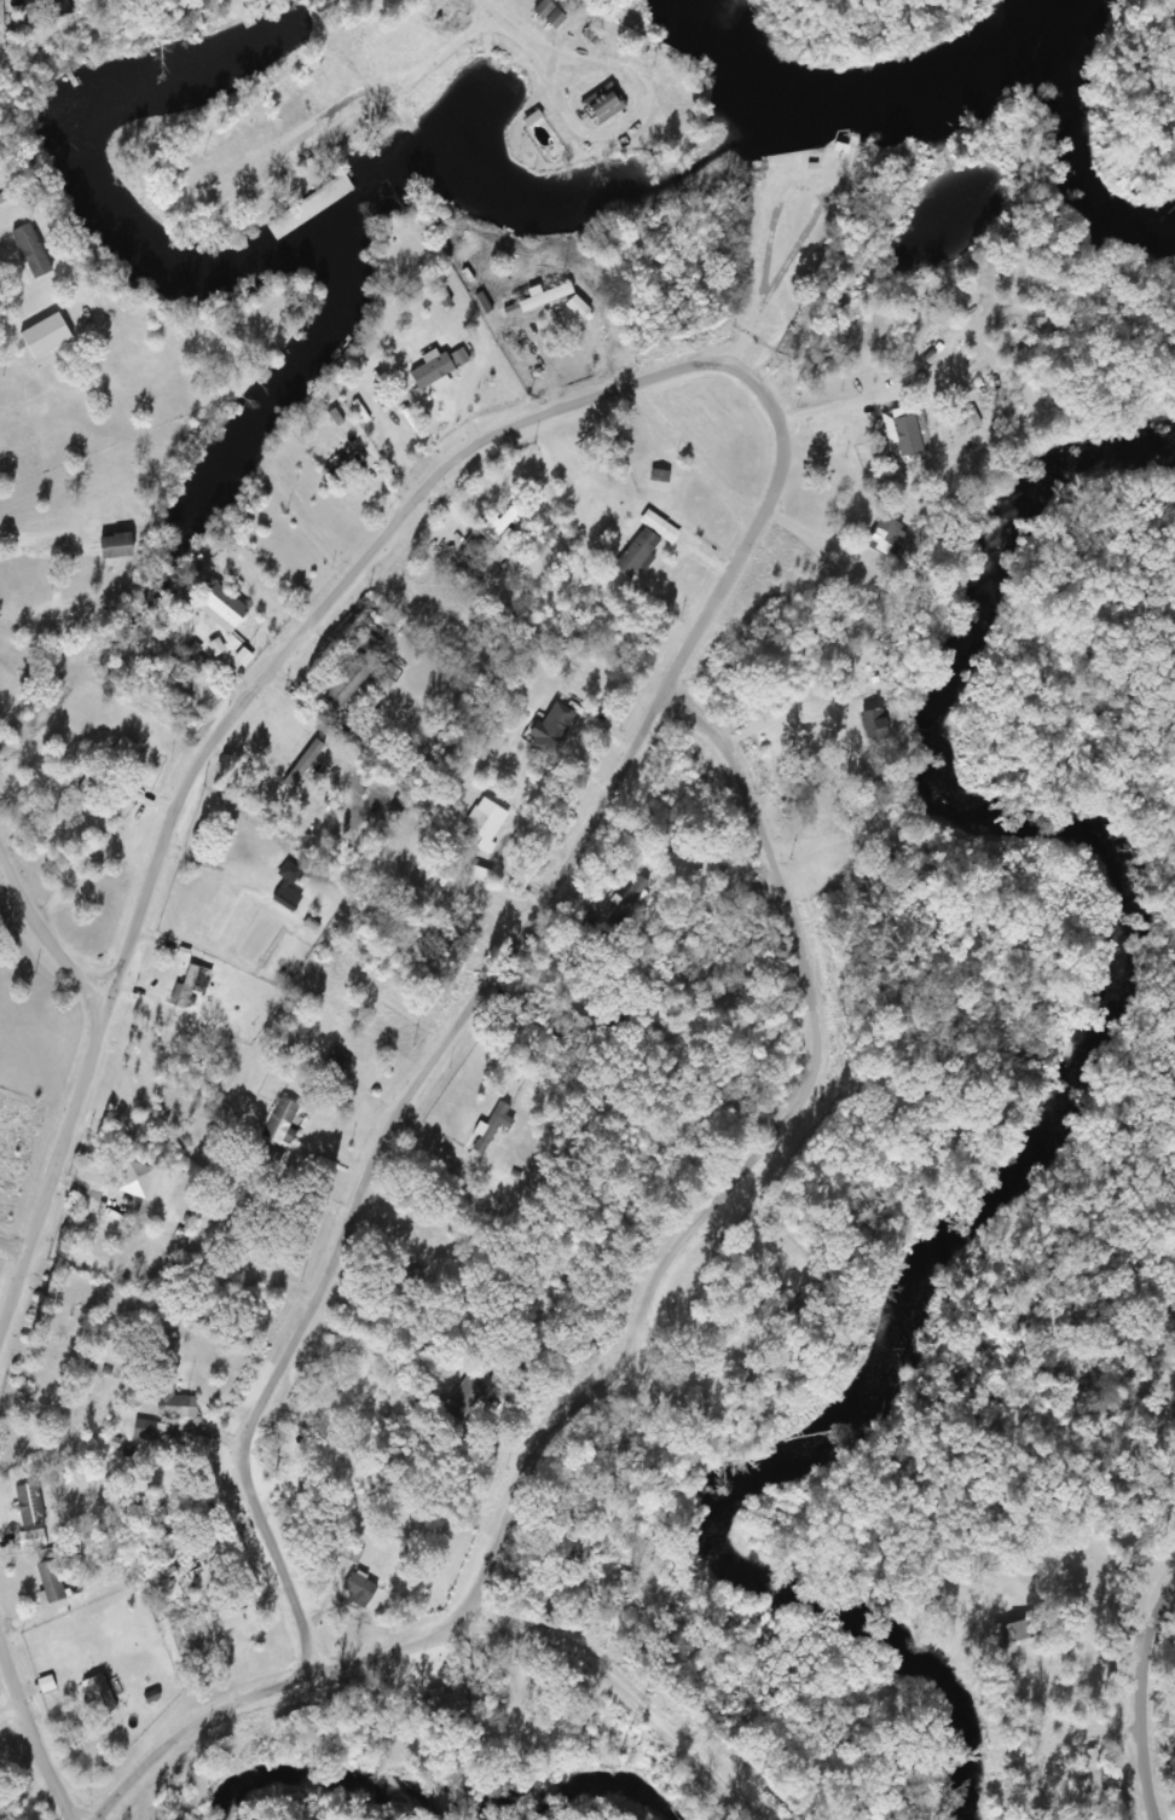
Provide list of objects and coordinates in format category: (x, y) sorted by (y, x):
building: (549, 13)
road: (533, 39)
building: (601, 105)
building: (537, 298)
building: (46, 336)
building: (428, 381)
building: (493, 527)
building: (886, 537)
building: (115, 546)
building: (635, 552)
road: (372, 569)
building: (219, 607)
building: (348, 680)
building: (857, 690)
building: (876, 723)
building: (551, 729)
building: (121, 750)
building: (482, 824)
building: (285, 888)
road: (45, 929)
building: (187, 985)
road: (456, 1037)
building: (335, 1060)
building: (279, 1123)
building: (488, 1128)
road: (760, 1172)
building: (133, 1179)
road: (56, 1192)
road: (18, 1251)
building: (170, 1402)
building: (28, 1505)
building: (170, 1547)
building: (204, 1575)
building: (48, 1581)
building: (357, 1589)
building: (226, 1615)
building: (1012, 1634)
building: (693, 1647)
road: (577, 1652)
building: (95, 1696)
building: (445, 1704)
road: (1148, 1704)
road: (33, 1722)
road: (206, 1731)

